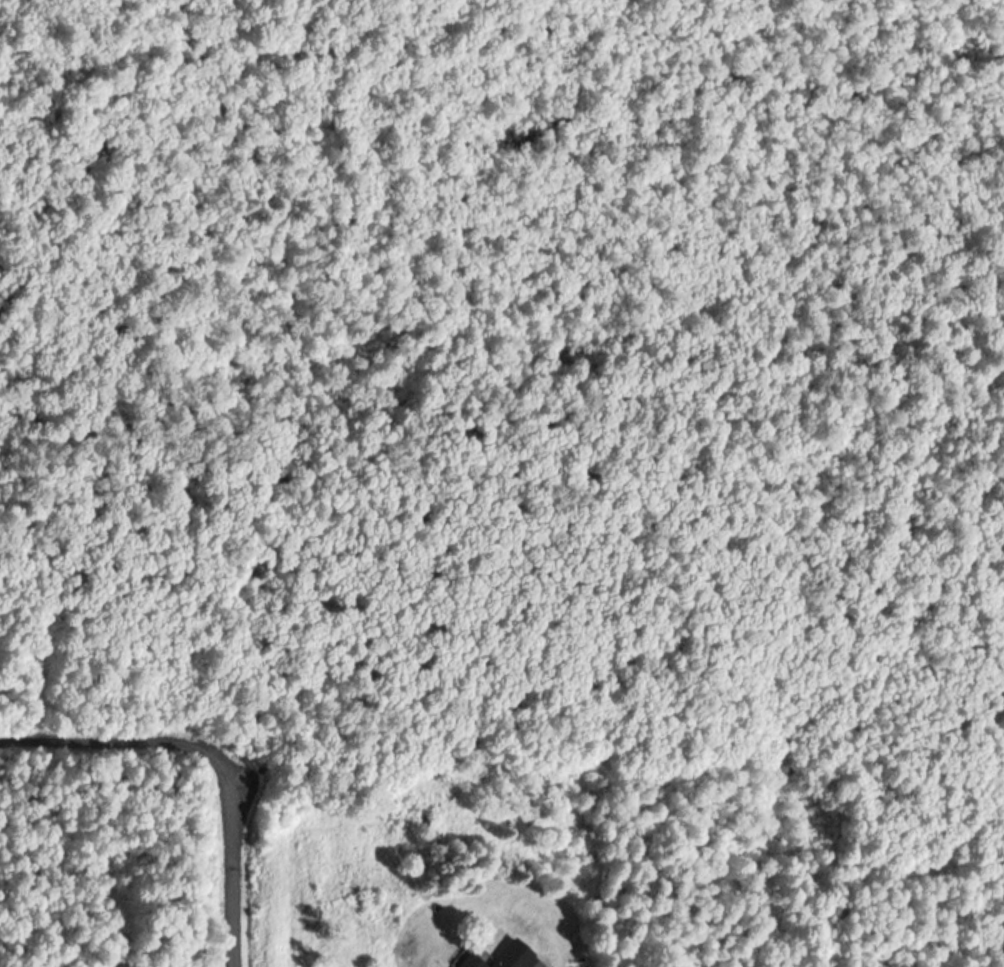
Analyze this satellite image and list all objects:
road: (126, 738)
road: (240, 875)
building: (513, 956)
building: (469, 962)

